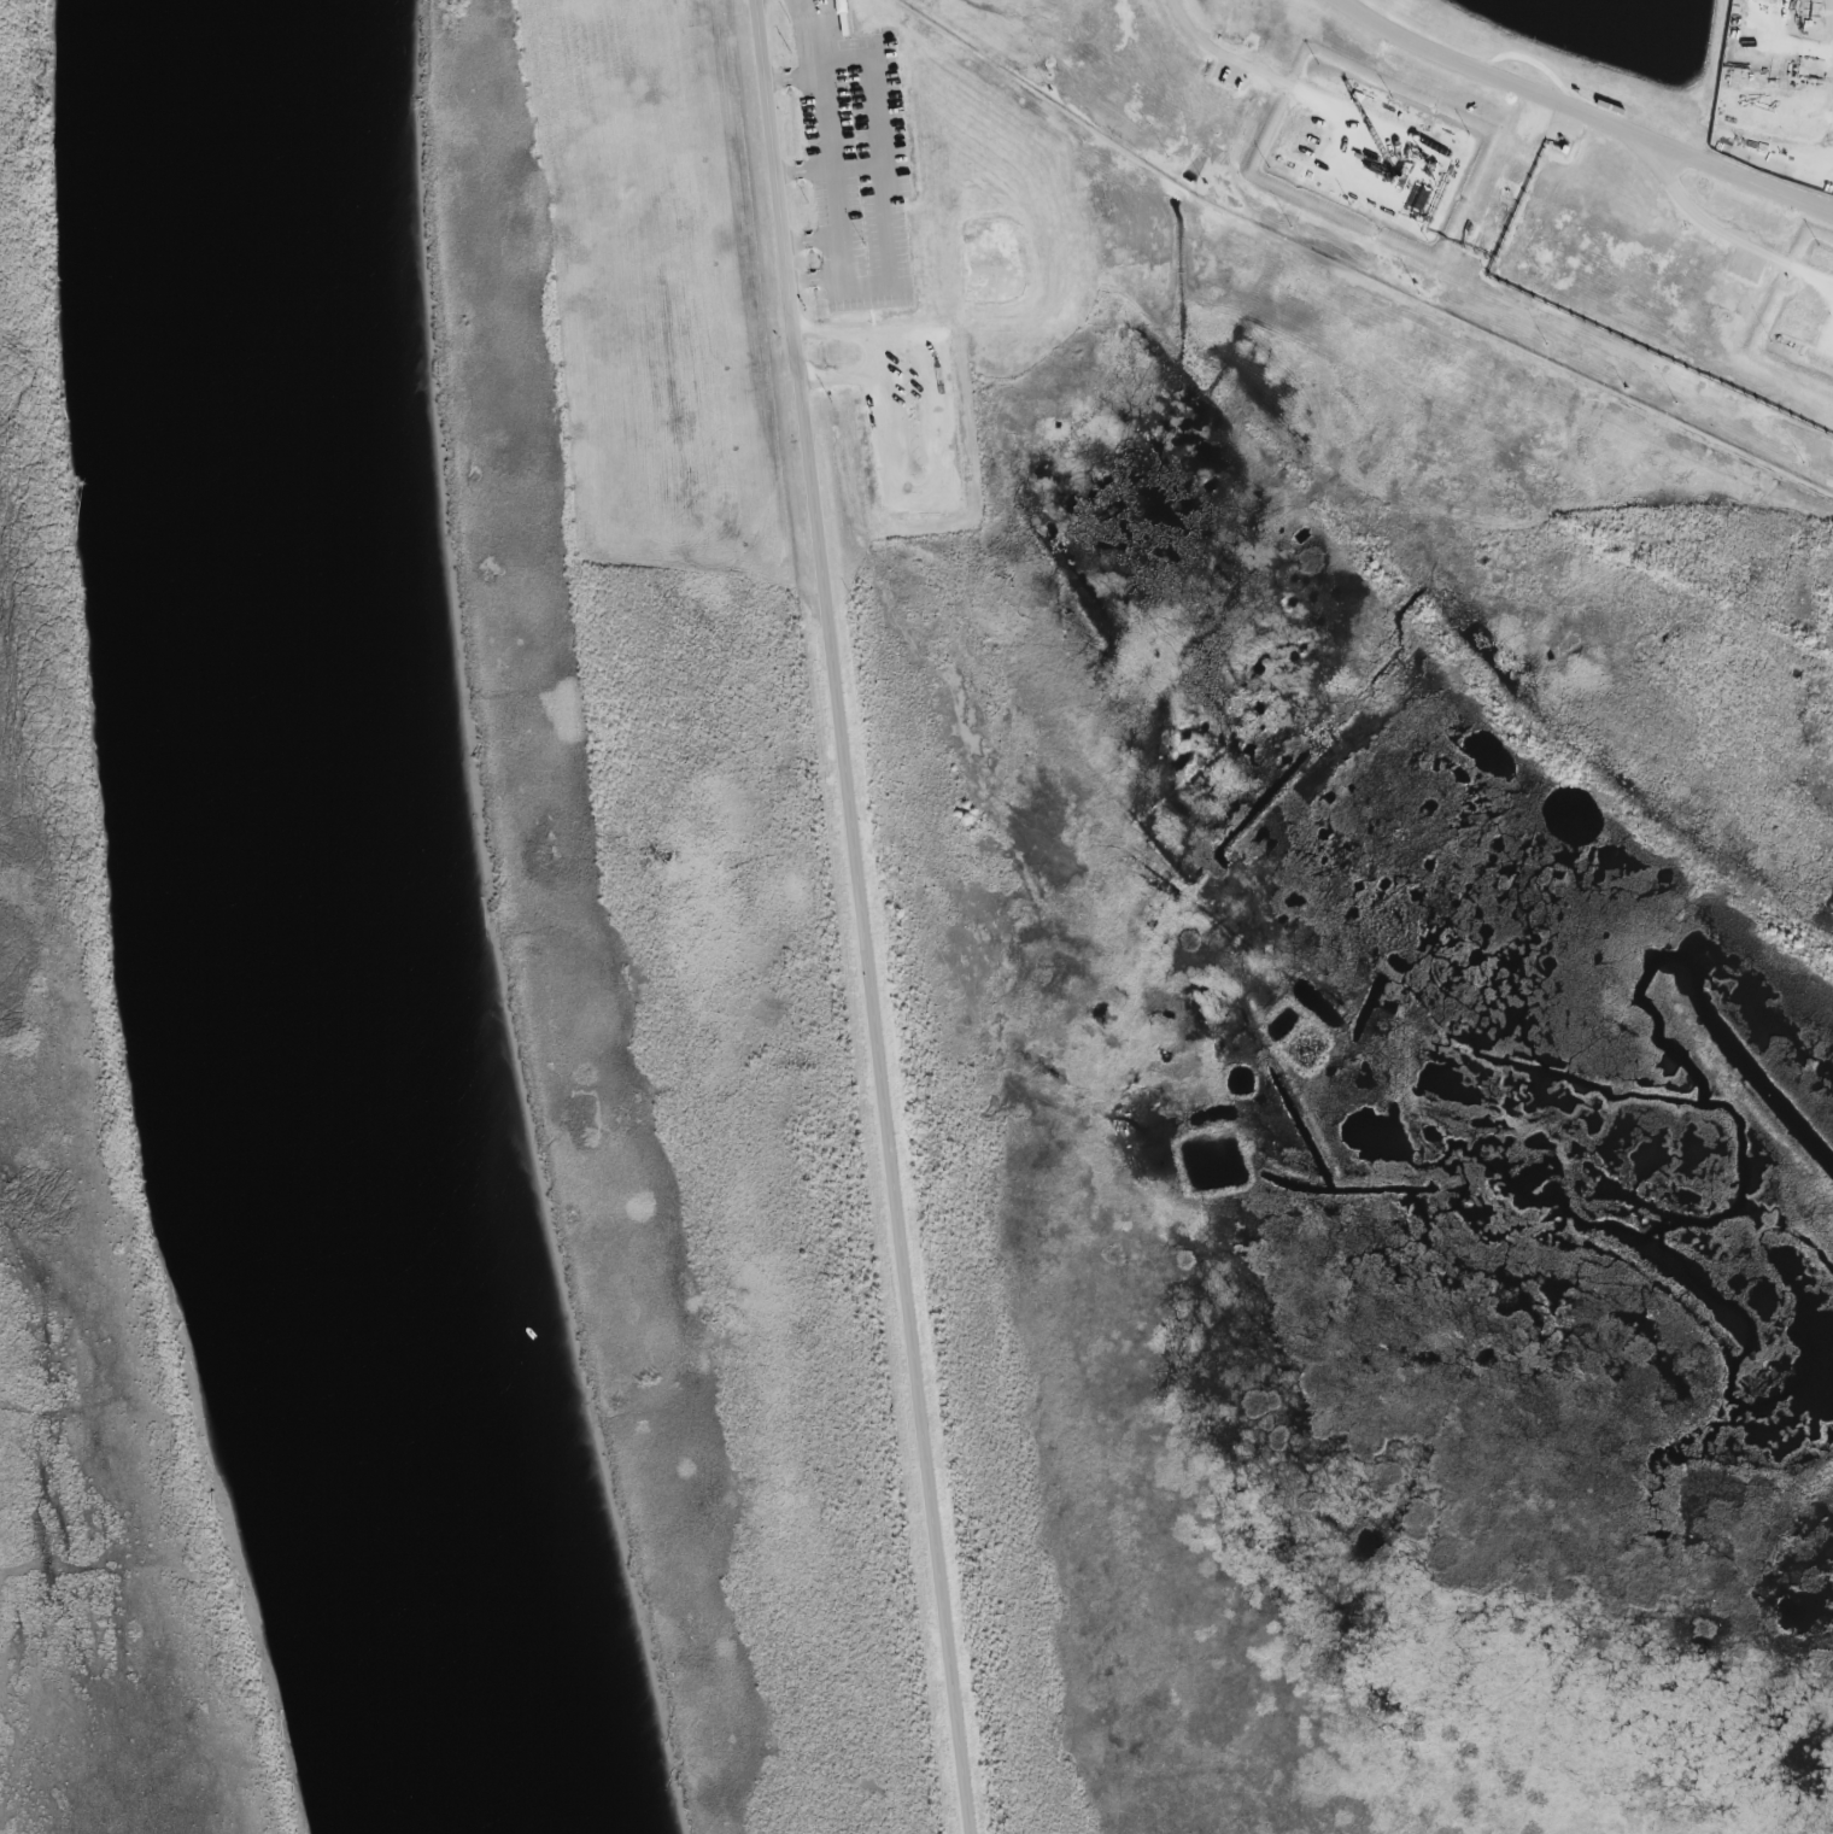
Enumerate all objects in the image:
road: (1575, 116)
road: (865, 916)
river: (342, 920)

